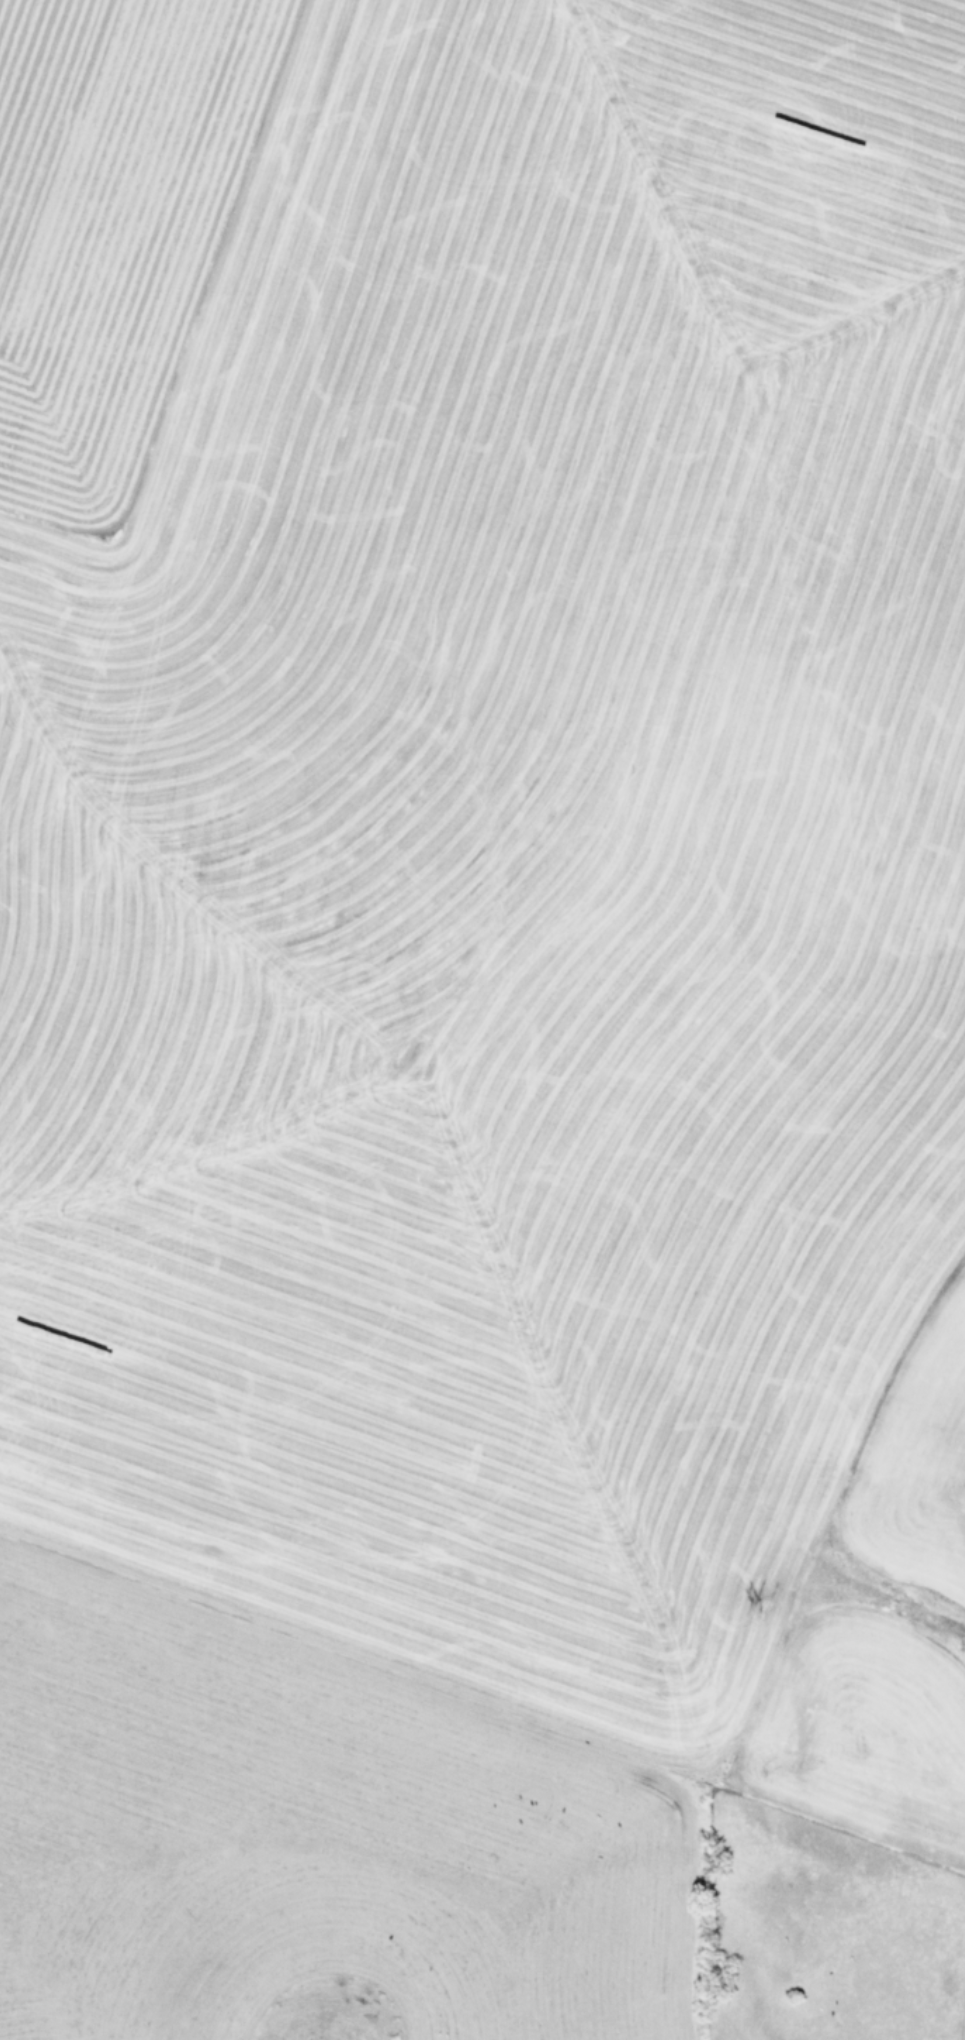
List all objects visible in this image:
crop: (482, 1020)

